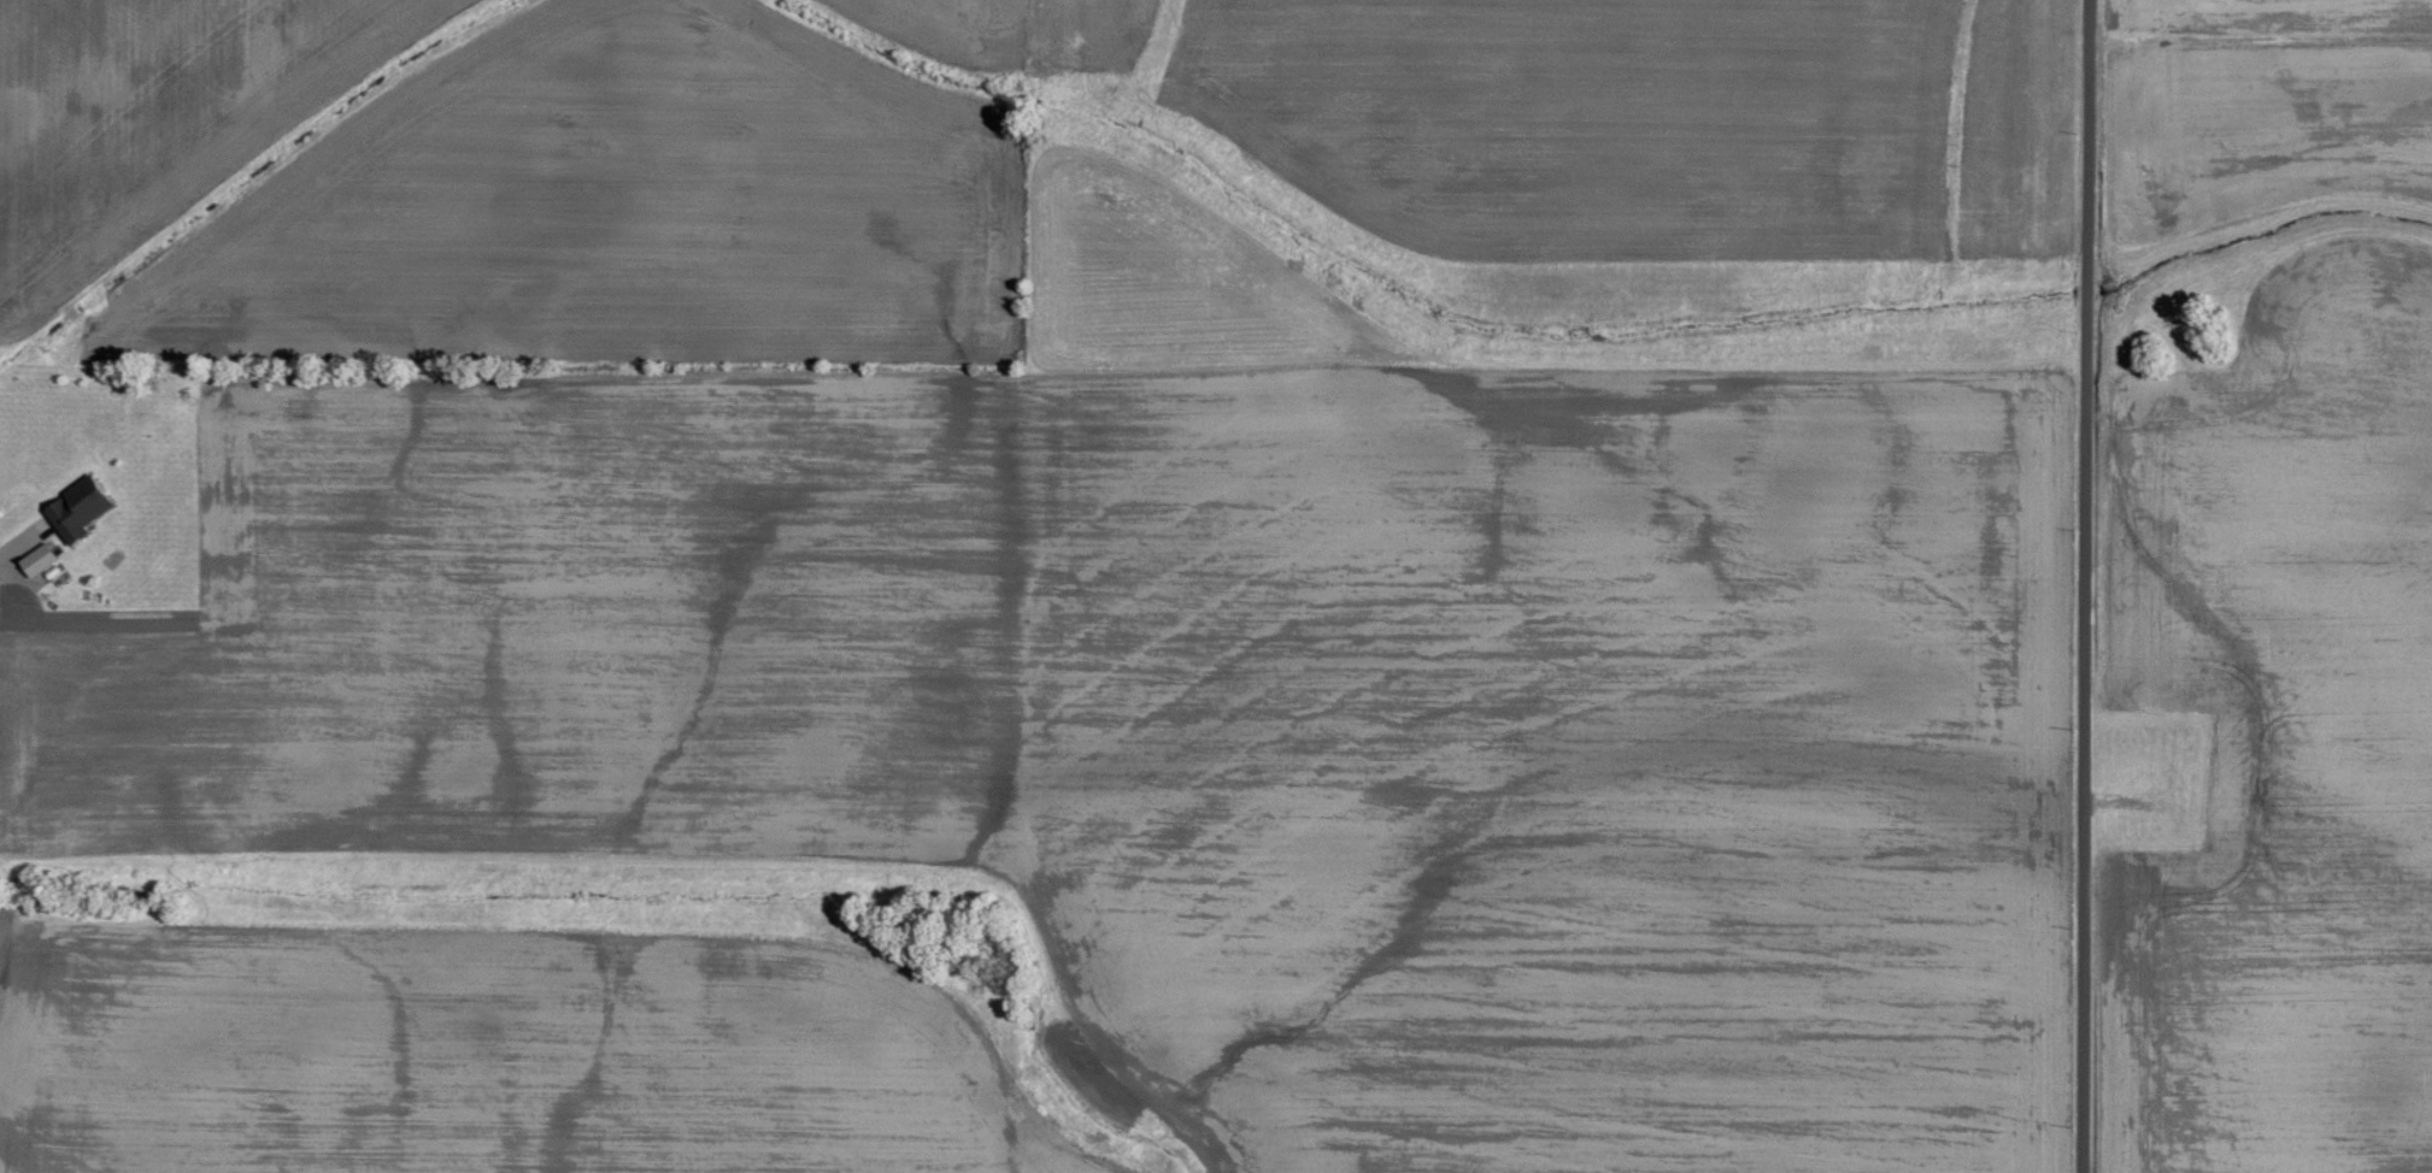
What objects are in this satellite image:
building: (36, 560)
road: (2087, 586)

